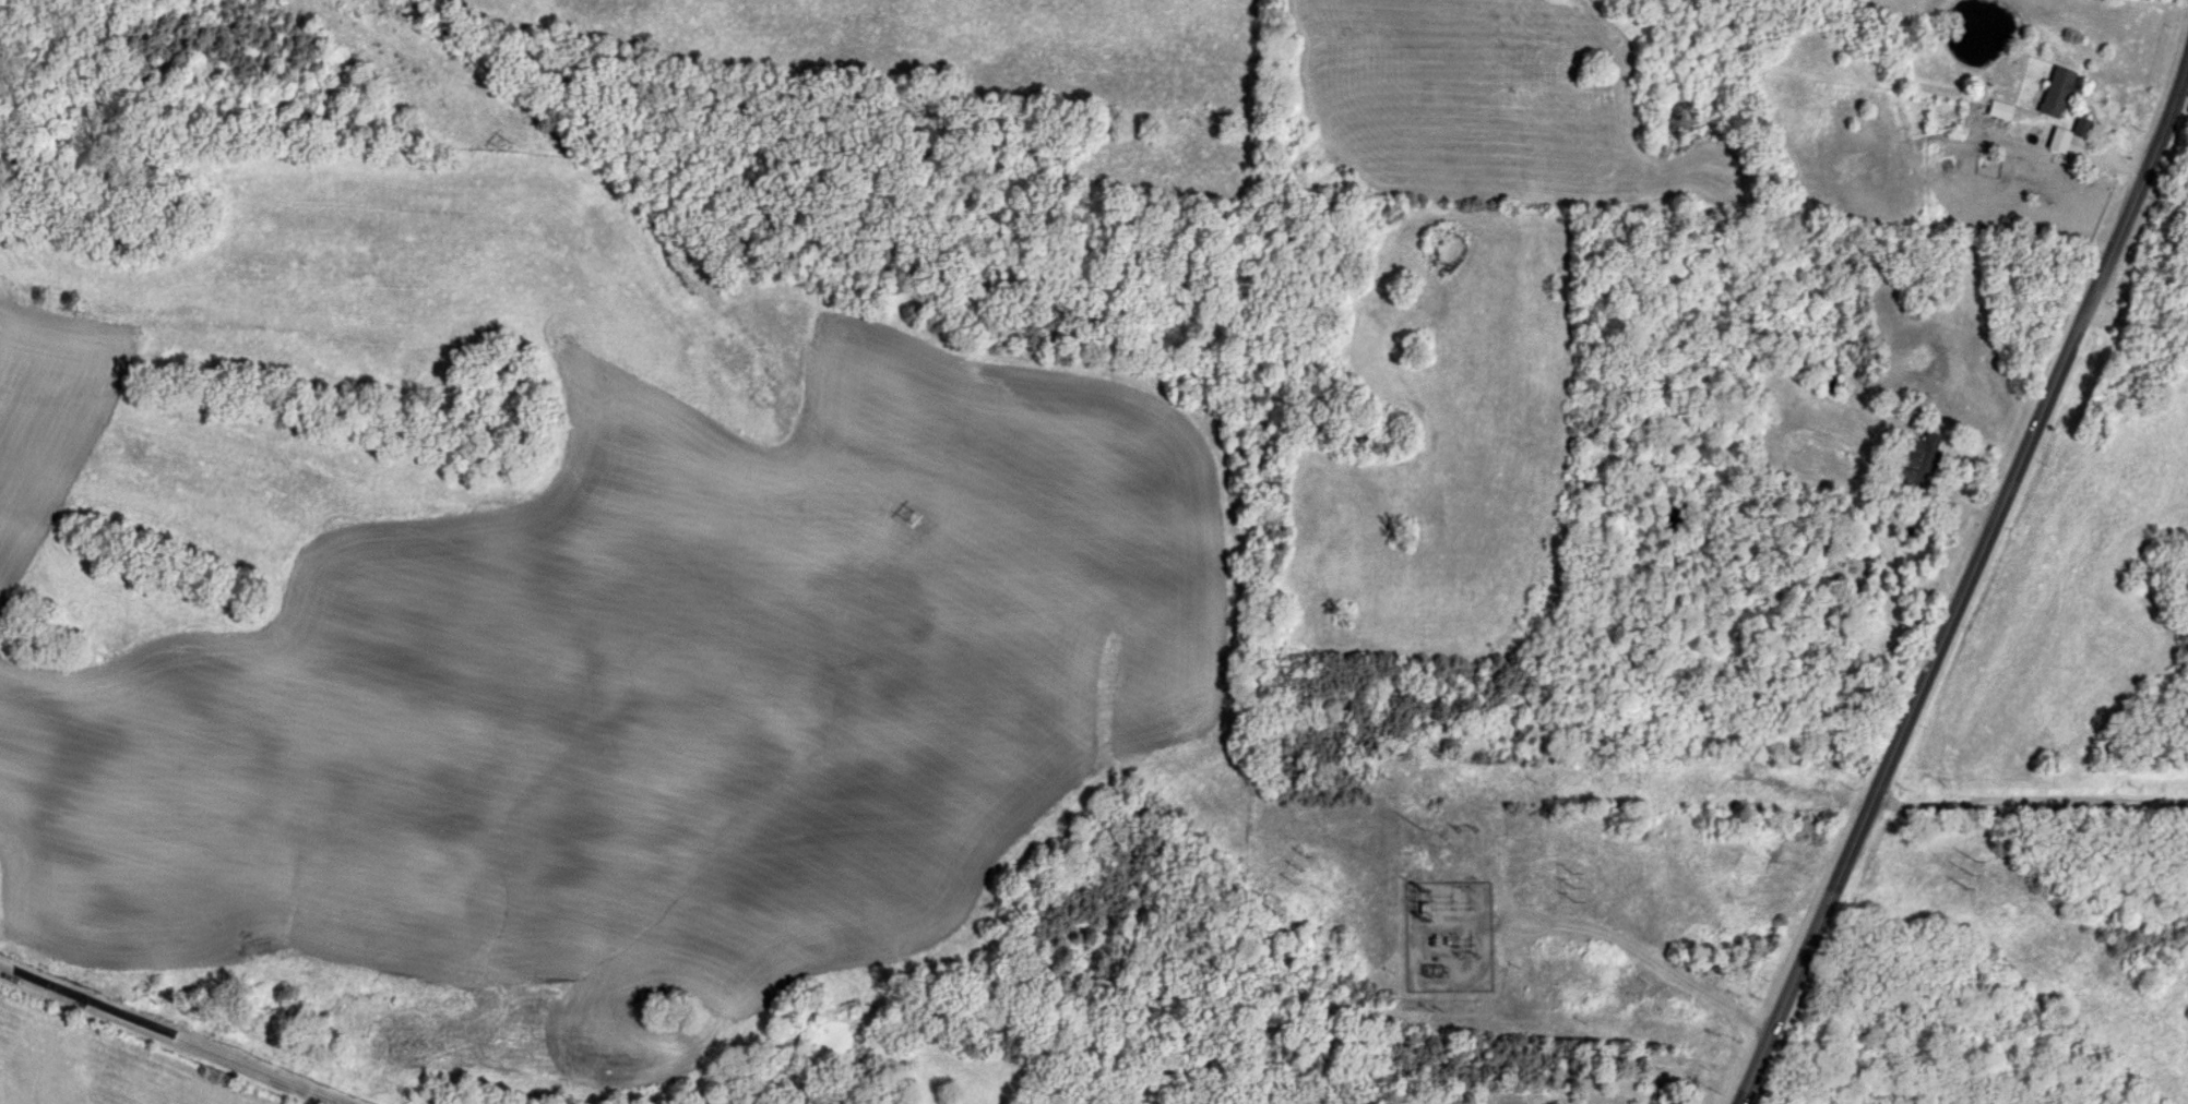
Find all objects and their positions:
building: (2053, 94)
building: (1996, 111)
building: (2064, 137)
power tower: (499, 144)
road: (2138, 323)
building: (1915, 461)
power tower: (908, 520)
building: (1815, 560)
road: (1965, 587)
power tower: (1294, 873)
power tower: (1966, 876)
power tower: (1573, 885)
power tower: (1426, 901)
power substation: (1447, 936)
road: (1650, 958)
road: (167, 1037)

